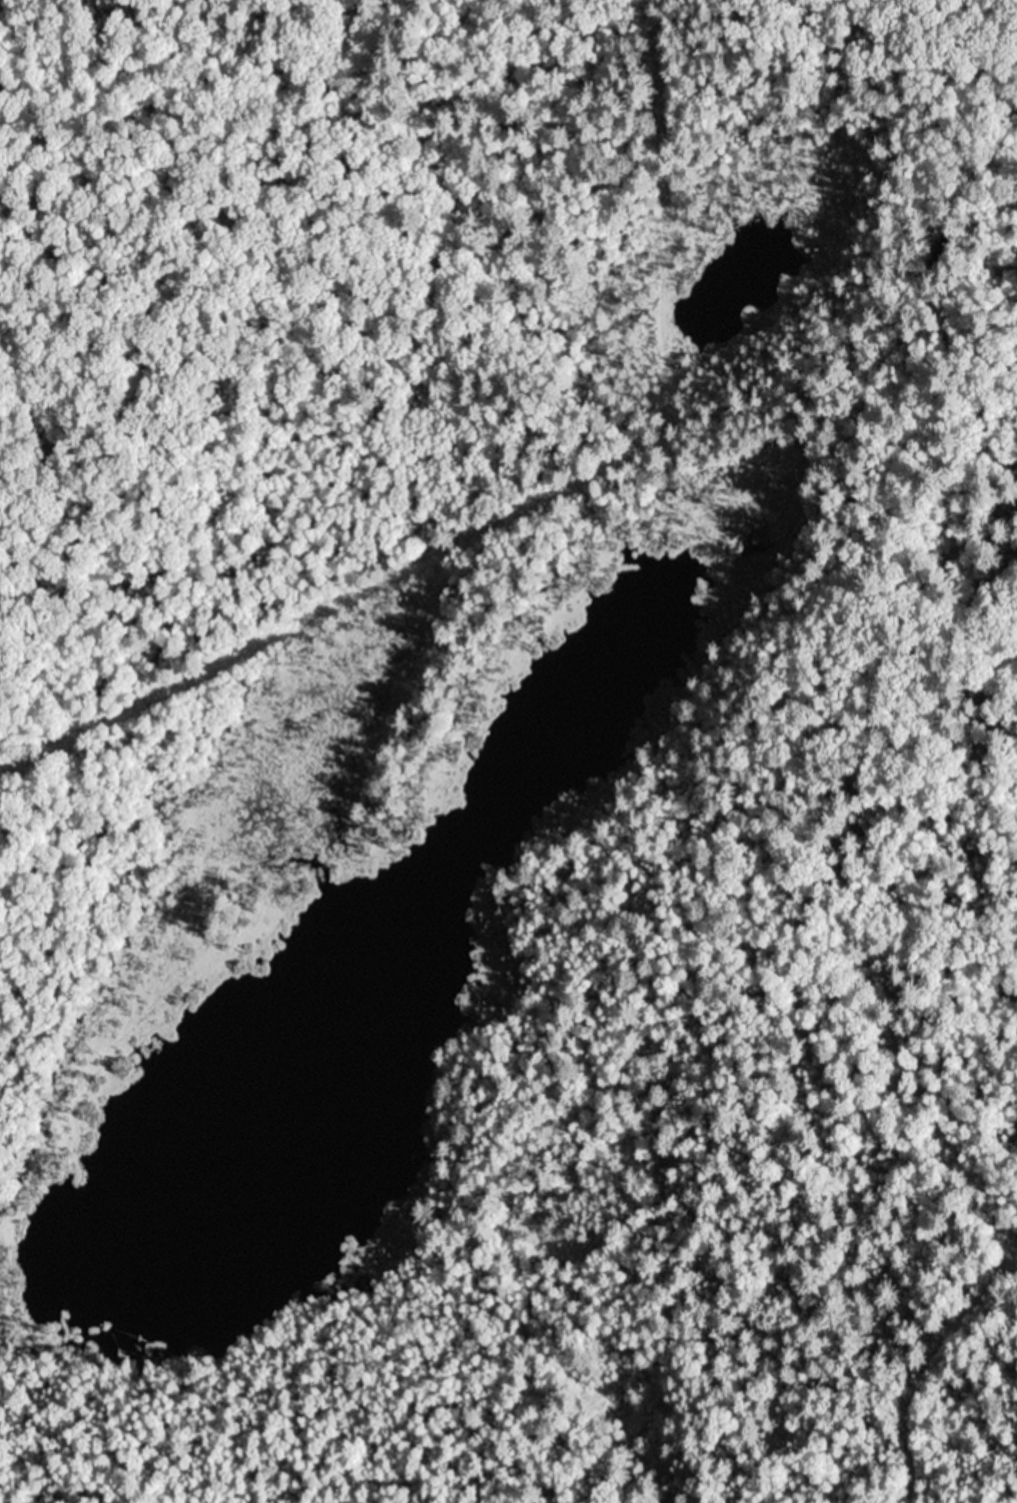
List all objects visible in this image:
road: (932, 1361)

